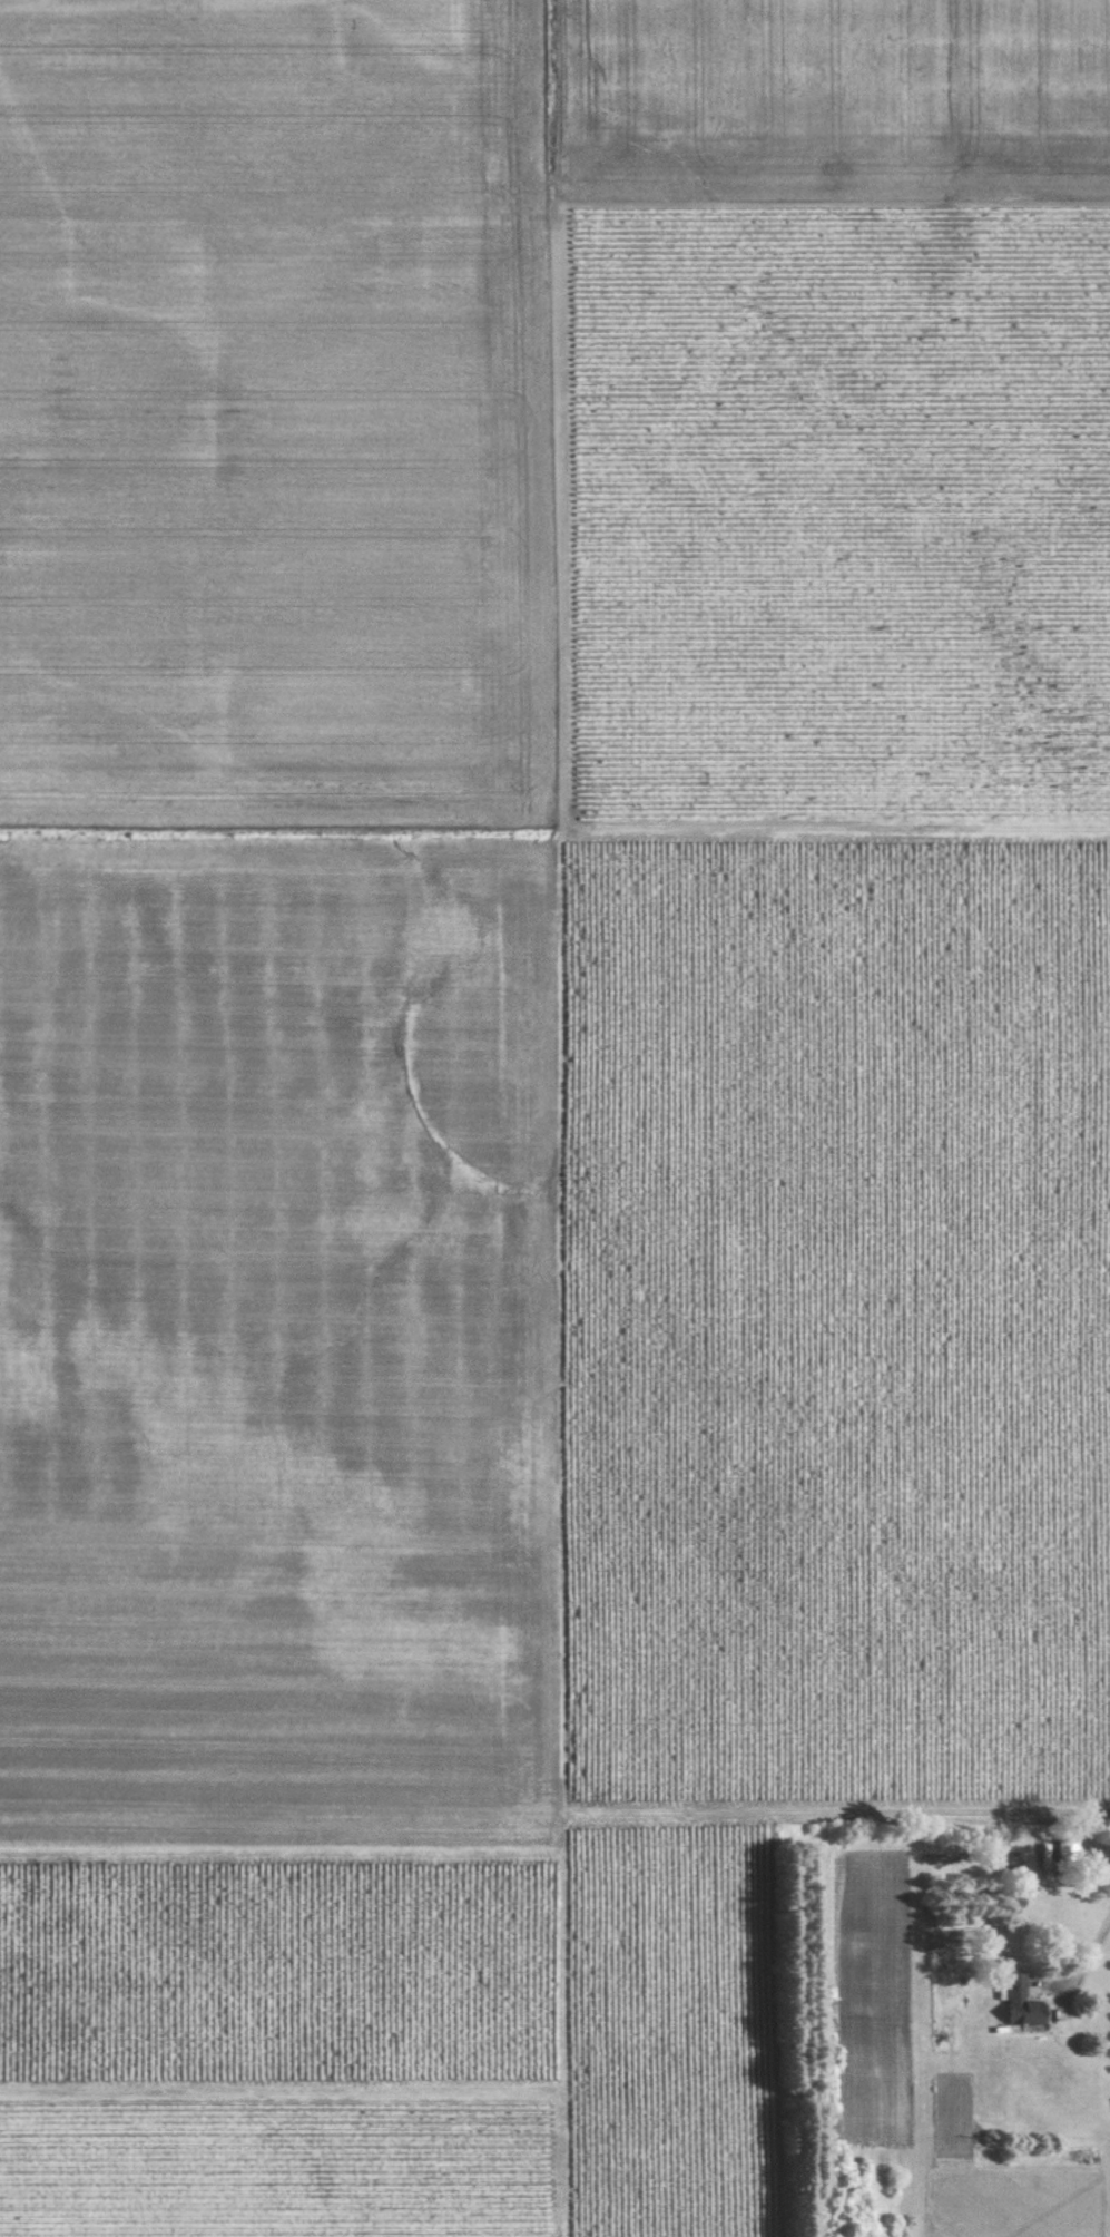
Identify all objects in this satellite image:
building: (1062, 1854)
road: (1087, 1948)
building: (1013, 2000)

